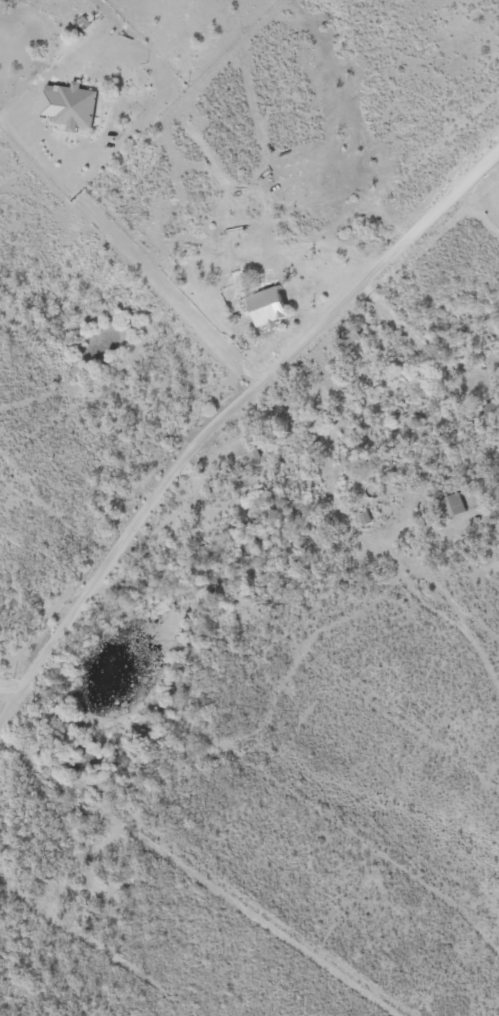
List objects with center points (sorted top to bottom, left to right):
building: (117, 74)
building: (76, 103)
building: (271, 304)
road: (324, 375)
building: (491, 403)
building: (453, 501)
road: (158, 520)

